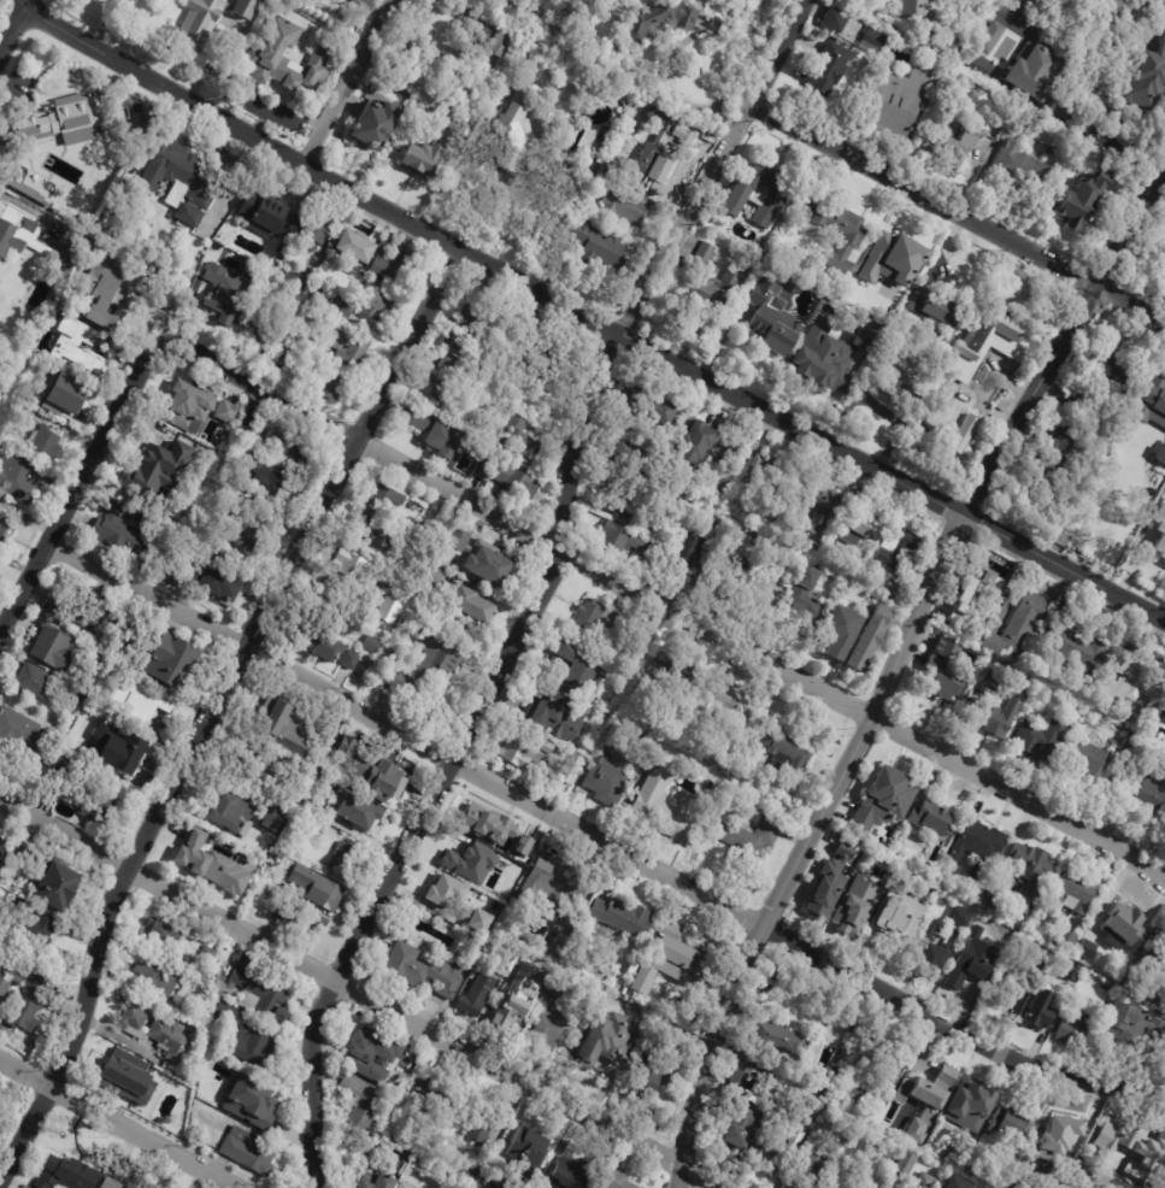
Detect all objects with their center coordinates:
road: (25, 0)
road: (27, 0)
building: (1077, 4)
road: (371, 7)
building: (246, 8)
building: (1122, 13)
building: (917, 17)
building: (658, 20)
building: (831, 22)
building: (196, 24)
road: (14, 30)
building: (987, 37)
building: (498, 39)
building: (871, 41)
road: (679, 43)
building: (1017, 54)
building: (288, 58)
building: (826, 70)
building: (1147, 78)
building: (1039, 80)
road: (348, 83)
building: (893, 105)
road: (1110, 120)
building: (70, 123)
building: (376, 124)
building: (517, 128)
building: (951, 146)
building: (433, 148)
building: (658, 164)
building: (1019, 169)
building: (570, 177)
building: (184, 181)
building: (31, 189)
building: (763, 193)
building: (1082, 196)
building: (626, 207)
road: (957, 211)
building: (271, 217)
building: (316, 231)
building: (19, 242)
building: (853, 242)
building: (357, 246)
building: (604, 248)
building: (392, 263)
road: (490, 265)
building: (895, 267)
building: (352, 271)
building: (1163, 271)
building: (711, 278)
building: (295, 281)
building: (224, 287)
building: (108, 290)
building: (854, 295)
building: (172, 299)
building: (335, 301)
building: (289, 302)
building: (377, 302)
building: (941, 306)
building: (775, 322)
building: (263, 324)
building: (476, 327)
building: (995, 333)
building: (296, 336)
building: (319, 340)
building: (81, 349)
building: (353, 351)
building: (287, 352)
building: (323, 354)
building: (832, 357)
building: (449, 364)
building: (952, 380)
building: (895, 382)
building: (334, 386)
building: (1122, 388)
building: (441, 394)
building: (71, 398)
building: (1151, 402)
building: (651, 406)
building: (189, 407)
building: (229, 412)
building: (251, 422)
building: (440, 435)
building: (522, 442)
building: (695, 442)
building: (47, 445)
building: (289, 447)
building: (1160, 453)
building: (240, 454)
building: (634, 457)
building: (725, 464)
building: (1053, 464)
building: (160, 467)
building: (772, 471)
building: (651, 472)
building: (19, 478)
building: (511, 478)
building: (273, 480)
road: (81, 487)
building: (694, 496)
building: (625, 499)
building: (388, 500)
building: (814, 500)
building: (675, 505)
building: (690, 513)
building: (246, 523)
building: (863, 527)
building: (128, 531)
building: (1158, 531)
building: (376, 533)
building: (5, 534)
building: (628, 541)
building: (812, 549)
building: (688, 552)
building: (898, 552)
building: (484, 558)
building: (725, 559)
building: (824, 560)
road: (1064, 567)
building: (364, 576)
building: (433, 576)
building: (189, 578)
building: (224, 586)
road: (542, 590)
building: (770, 590)
building: (981, 590)
building: (896, 592)
building: (807, 599)
building: (92, 606)
road: (667, 608)
building: (393, 611)
building: (465, 612)
building: (60, 613)
building: (598, 618)
building: (1016, 625)
building: (841, 634)
building: (871, 639)
building: (372, 645)
building: (1073, 647)
building: (320, 649)
building: (55, 651)
building: (388, 655)
building: (634, 655)
building: (351, 660)
building: (431, 661)
building: (175, 664)
building: (579, 666)
road: (893, 666)
building: (940, 671)
building: (676, 674)
building: (985, 675)
building: (36, 682)
building: (1128, 689)
building: (141, 698)
building: (82, 699)
building: (728, 705)
road: (212, 707)
building: (557, 713)
building: (1164, 717)
building: (996, 718)
building: (284, 719)
building: (23, 735)
building: (1039, 739)
building: (1131, 746)
building: (529, 753)
building: (783, 753)
building: (120, 754)
building: (1087, 759)
building: (610, 768)
building: (269, 769)
building: (575, 770)
building: (387, 780)
building: (107, 782)
building: (1142, 790)
building: (881, 800)
building: (316, 801)
building: (99, 807)
building: (664, 808)
building: (359, 813)
building: (235, 814)
building: (928, 816)
building: (275, 821)
building: (476, 822)
building: (514, 836)
building: (755, 839)
road: (601, 840)
building: (977, 845)
building: (4, 847)
building: (18, 854)
building: (343, 857)
building: (464, 858)
building: (276, 864)
building: (502, 864)
building: (217, 869)
building: (1026, 876)
building: (841, 883)
building: (557, 884)
building: (60, 887)
building: (319, 889)
building: (443, 889)
building: (1072, 892)
building: (473, 896)
building: (992, 898)
building: (486, 899)
building: (854, 905)
building: (625, 916)
building: (894, 917)
building: (301, 918)
building: (478, 919)
building: (1122, 928)
building: (33, 929)
building: (942, 929)
building: (161, 931)
building: (984, 931)
building: (1064, 940)
building: (211, 952)
building: (1084, 952)
building: (978, 957)
building: (683, 958)
building: (512, 964)
building: (424, 969)
building: (20, 970)
building: (1020, 971)
building: (1155, 972)
building: (157, 976)
building: (560, 986)
building: (1106, 986)
building: (253, 992)
building: (5, 994)
road: (363, 994)
building: (479, 995)
building: (33, 1002)
building: (1040, 1007)
building: (605, 1012)
building: (508, 1016)
building: (1070, 1025)
building: (1126, 1027)
building: (553, 1028)
building: (158, 1030)
building: (248, 1037)
building: (773, 1037)
building: (675, 1039)
building: (1164, 1045)
building: (608, 1054)
building: (376, 1055)
building: (883, 1057)
building: (124, 1077)
building: (649, 1081)
building: (818, 1081)
building: (930, 1083)
building: (431, 1095)
building: (849, 1096)
building: (365, 1101)
building: (253, 1102)
building: (804, 1106)
building: (971, 1106)
building: (740, 1115)
building: (1160, 1119)
road: (118, 1124)
building: (1010, 1125)
building: (483, 1127)
building: (400, 1133)
building: (779, 1146)
building: (1053, 1146)
building: (1129, 1146)
building: (529, 1148)
building: (251, 1151)
building: (904, 1163)
building: (496, 1170)
building: (807, 1170)
building: (70, 1171)
building: (476, 1172)
building: (570, 1174)
building: (123, 1180)
building: (619, 1180)
building: (922, 1181)
building: (381, 1182)
building: (42, 1183)
building: (949, 1183)
building: (400, 1186)
building: (457, 1186)
building: (1113, 1186)
building: (539, 1187)

